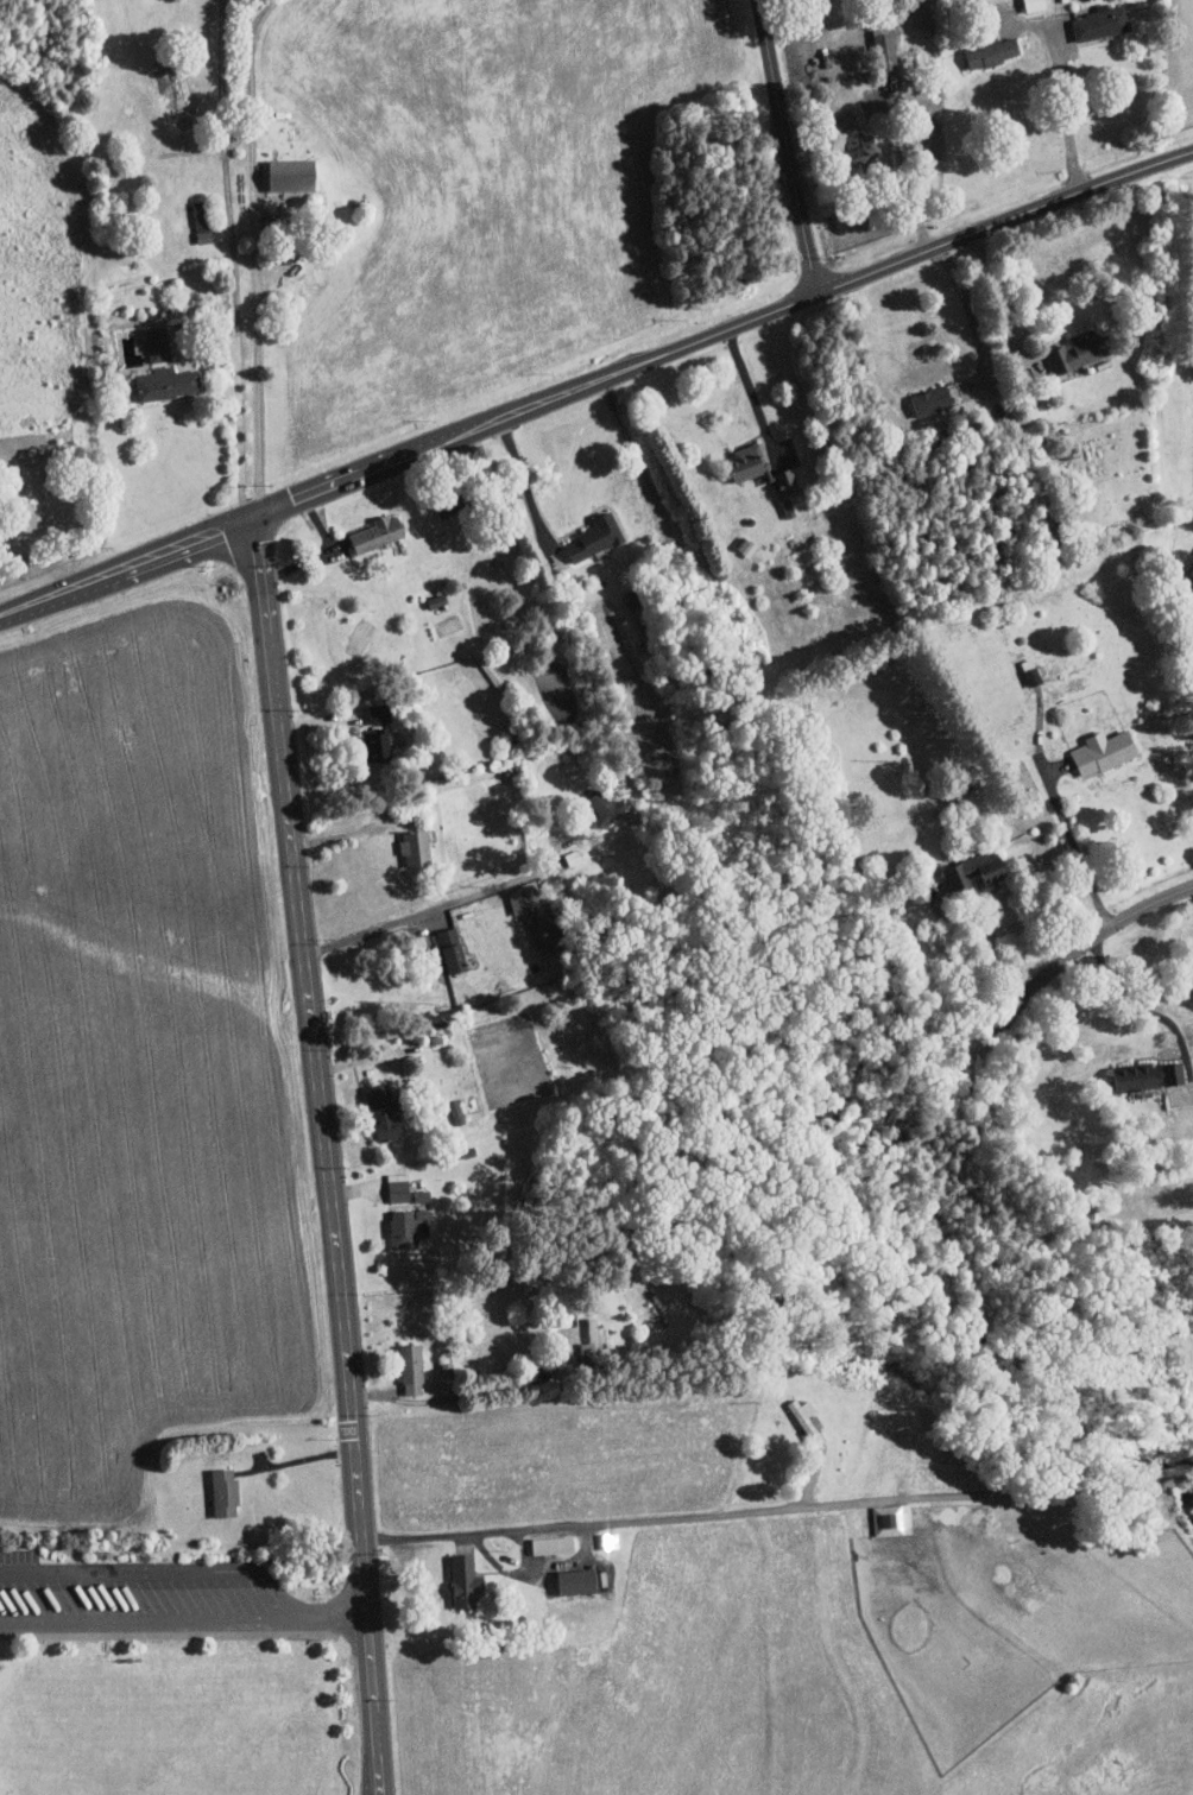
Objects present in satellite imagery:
building: (1034, 5)
building: (1102, 23)
building: (992, 52)
building: (889, 53)
road: (1065, 114)
road: (787, 147)
building: (861, 148)
building: (292, 176)
building: (203, 223)
road: (253, 255)
road: (235, 259)
road: (997, 298)
road: (970, 309)
building: (158, 343)
building: (1081, 348)
road: (595, 381)
building: (165, 383)
road: (752, 397)
building: (932, 400)
building: (749, 461)
road: (524, 481)
building: (787, 481)
building: (450, 503)
building: (788, 507)
building: (378, 533)
building: (595, 537)
building: (379, 713)
building: (377, 744)
building: (1104, 751)
building: (606, 807)
road: (346, 835)
building: (415, 847)
road: (1075, 848)
building: (977, 870)
building: (531, 912)
road: (410, 917)
building: (454, 959)
road: (1063, 965)
road: (958, 967)
road: (1140, 1009)
building: (1149, 1075)
building: (383, 1112)
road: (326, 1155)
building: (399, 1190)
building: (421, 1195)
building: (410, 1227)
building: (594, 1342)
building: (412, 1370)
building: (447, 1370)
building: (808, 1421)
road: (295, 1460)
building: (225, 1492)
road: (777, 1513)
building: (892, 1521)
building: (608, 1541)
building: (553, 1546)
road: (539, 1566)
road: (158, 1573)
building: (466, 1581)
building: (577, 1581)
parking lot: (135, 1597)
road: (183, 1622)
road: (166, 1636)

